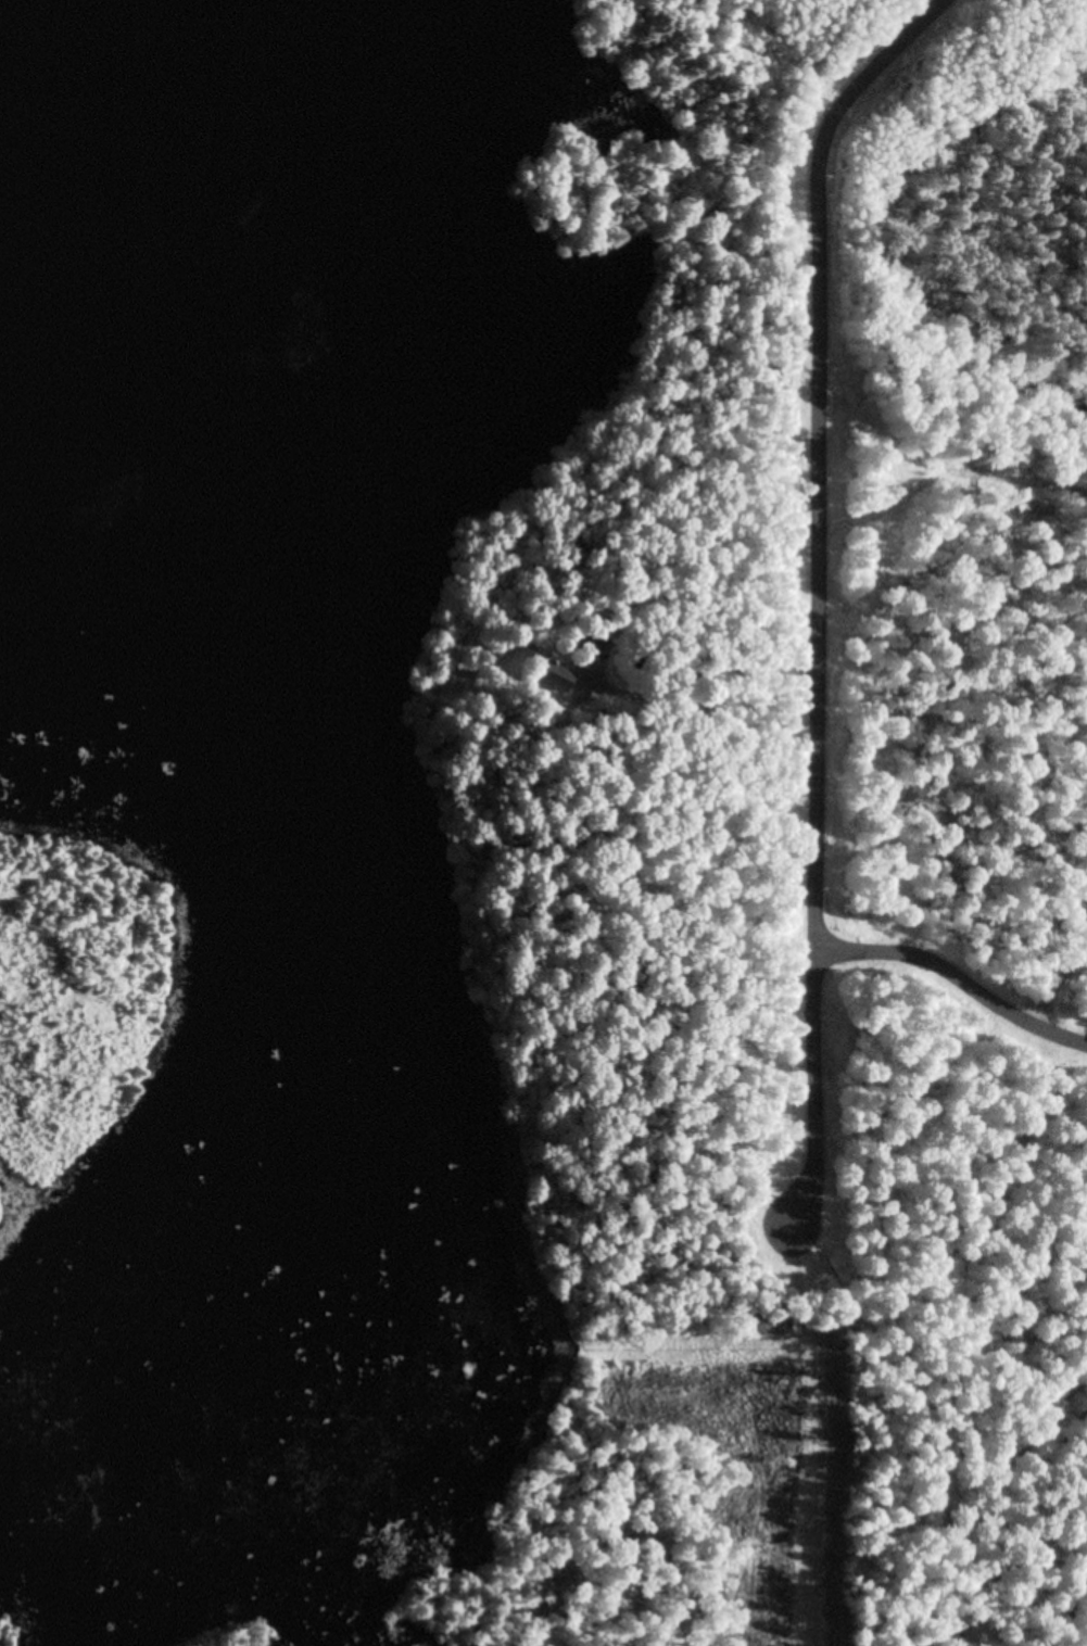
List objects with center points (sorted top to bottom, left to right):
river: (138, 152)
road: (817, 587)
building: (593, 644)
building: (555, 674)
road: (956, 983)
airport: (65, 999)
airport: (660, 1504)

